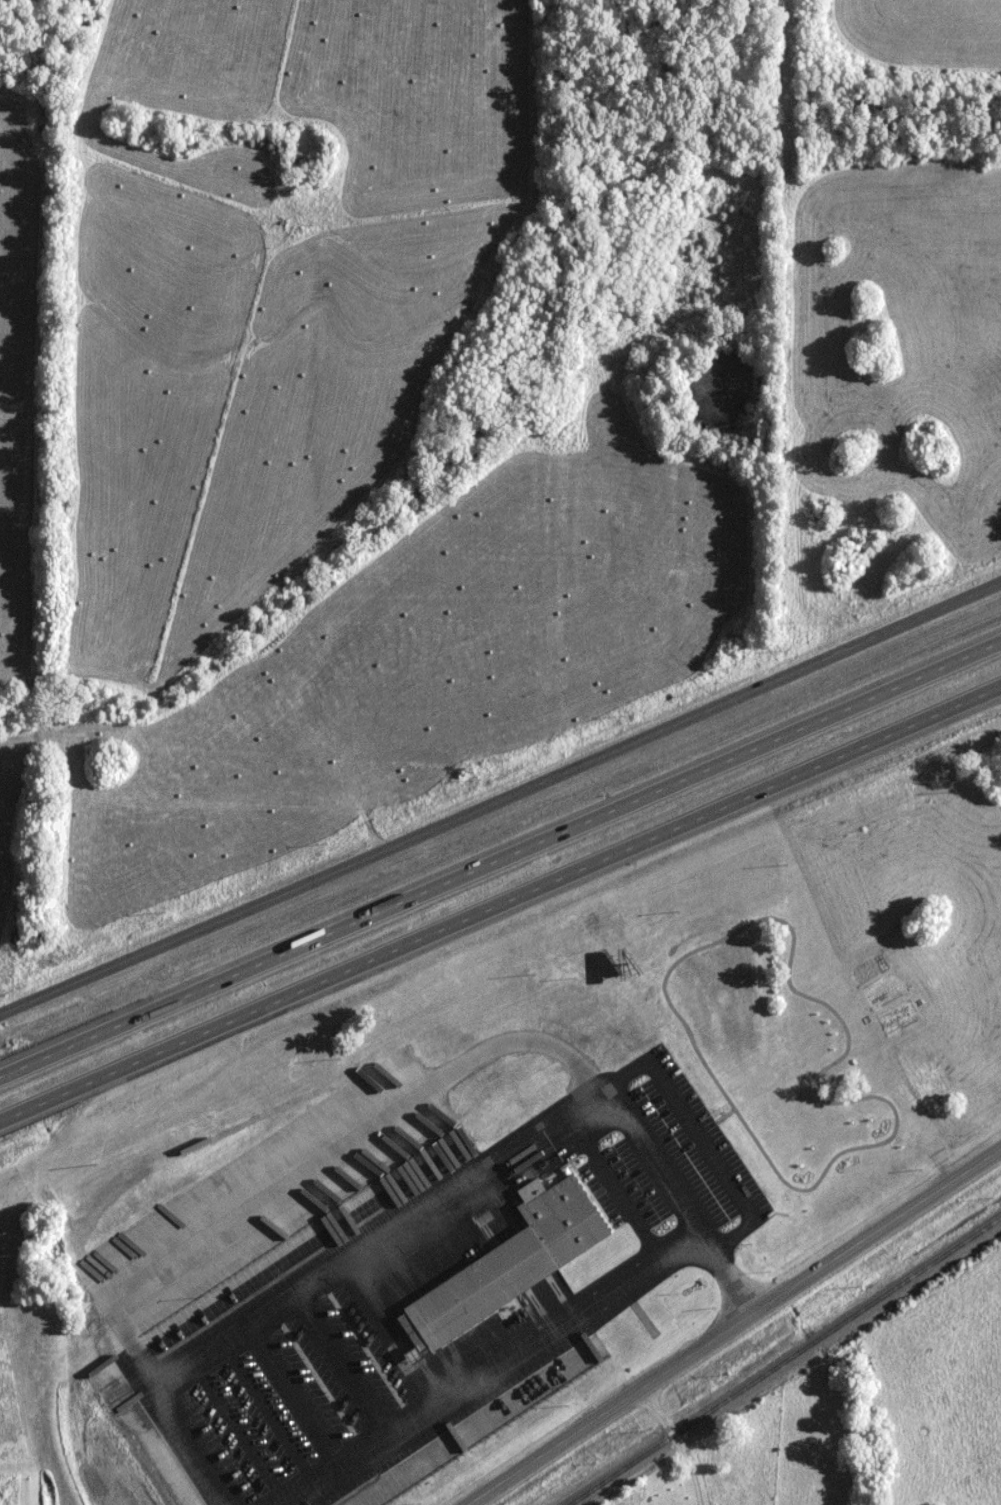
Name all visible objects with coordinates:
crop: (421, 661)
road: (500, 808)
crop: (8, 822)
road: (500, 872)
road: (500, 914)
road: (439, 1083)
road: (708, 1133)
road: (625, 1183)
road: (389, 1237)
building: (517, 1264)
road: (738, 1326)
road: (532, 1348)
railway: (785, 1360)
road: (353, 1364)
road: (310, 1392)
road: (280, 1412)
road: (183, 1421)
road: (250, 1432)
road: (689, 1441)

